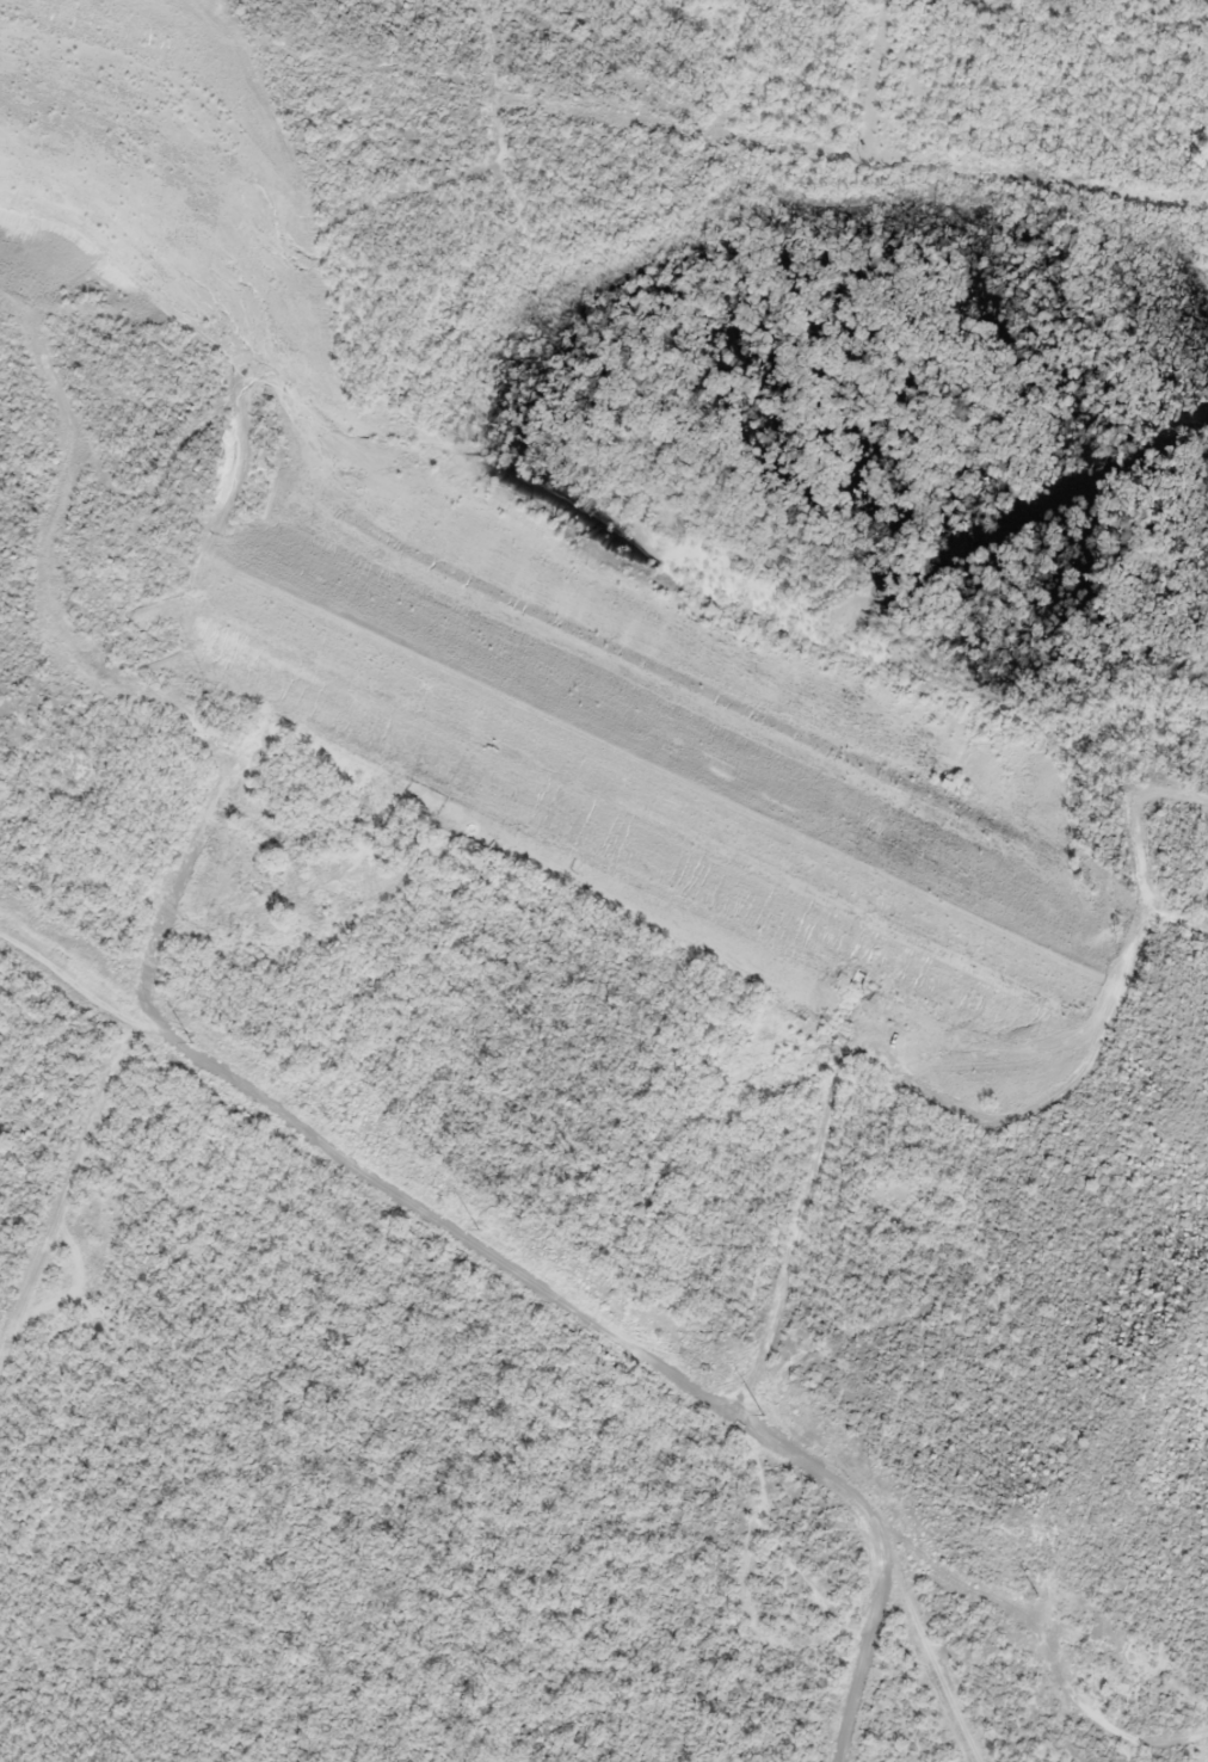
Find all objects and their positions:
river: (1013, 382)

